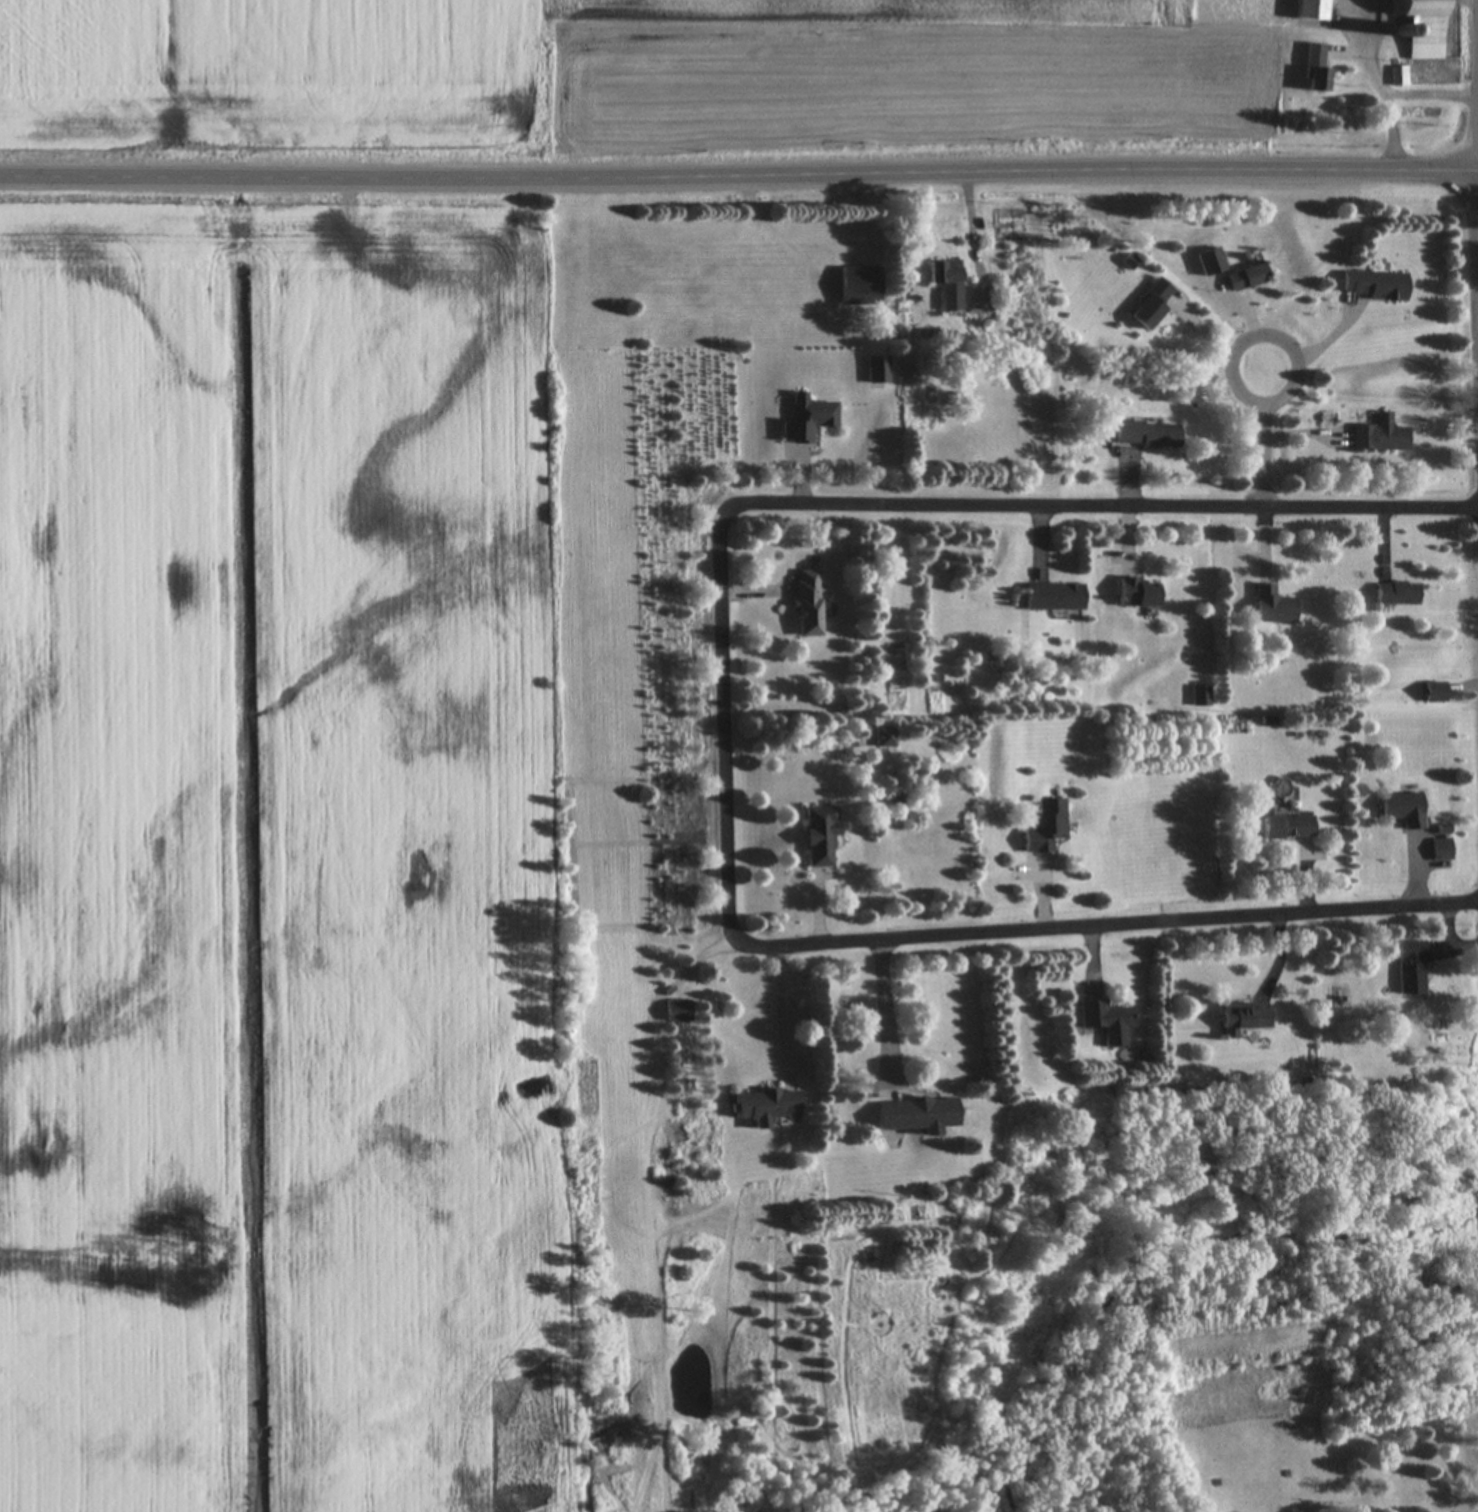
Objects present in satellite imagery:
building: (1421, 21)
building: (1317, 70)
building: (1399, 76)
road: (1379, 85)
road: (1429, 95)
road: (739, 174)
road: (1476, 228)
road: (971, 233)
building: (1211, 263)
building: (1249, 278)
building: (948, 284)
building: (1376, 286)
building: (861, 288)
building: (1152, 306)
building: (879, 371)
building: (809, 421)
building: (1148, 436)
building: (1381, 437)
road: (1263, 438)
building: (1139, 592)
building: (1398, 594)
building: (1054, 596)
building: (810, 603)
building: (1274, 606)
building: (1436, 692)
road: (723, 723)
building: (887, 737)
building: (1405, 808)
building: (1046, 826)
building: (1289, 826)
building: (822, 835)
building: (1442, 849)
airport runway: (622, 860)
building: (1412, 967)
road: (886, 1007)
road: (781, 1010)
building: (684, 1011)
building: (1243, 1018)
building: (1107, 1021)
building: (767, 1107)
building: (919, 1115)

